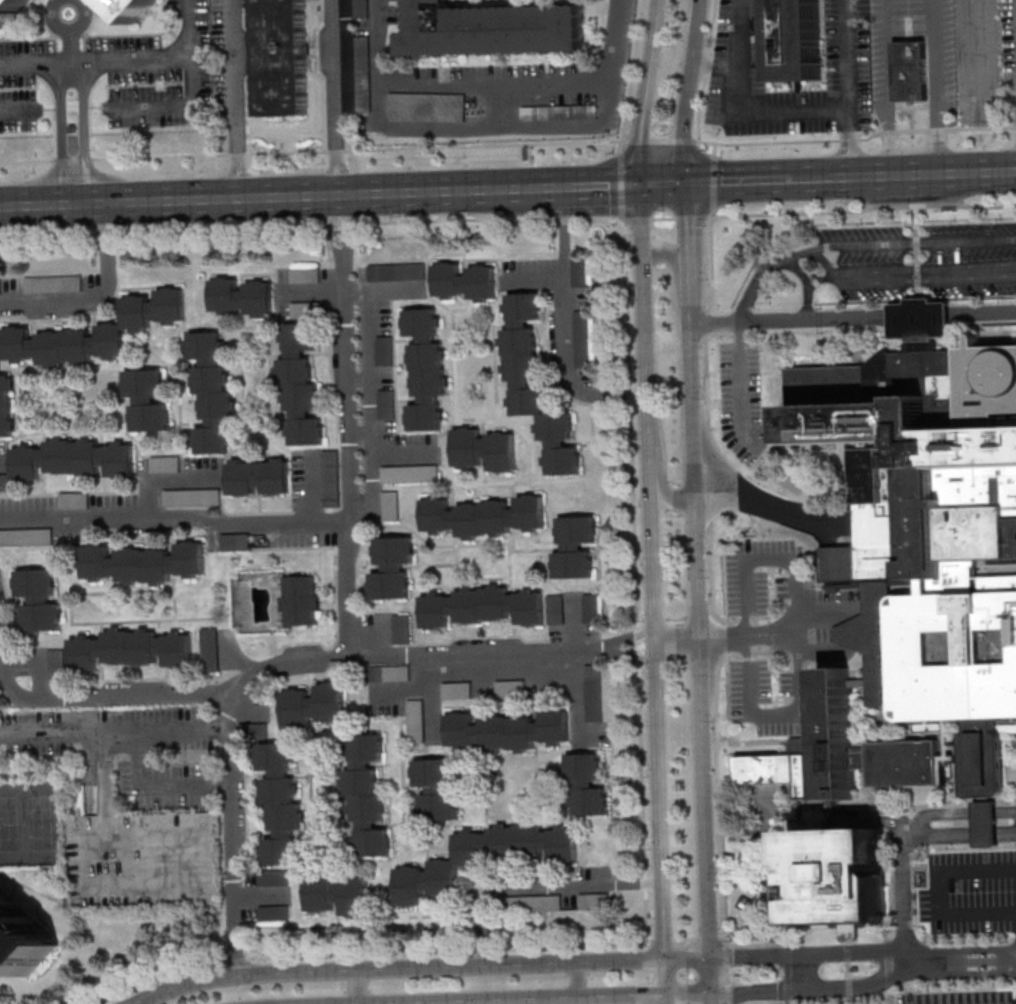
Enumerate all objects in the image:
building: (132, 7)
building: (9, 9)
building: (491, 28)
road: (67, 32)
road: (739, 35)
building: (795, 39)
road: (651, 44)
road: (72, 49)
building: (283, 57)
building: (355, 57)
road: (125, 64)
road: (632, 70)
road: (705, 70)
building: (910, 71)
road: (322, 73)
road: (247, 74)
road: (492, 85)
road: (936, 86)
road: (886, 87)
road: (848, 88)
road: (690, 91)
road: (335, 97)
road: (239, 98)
building: (427, 107)
road: (169, 108)
road: (751, 111)
road: (17, 112)
road: (83, 120)
road: (61, 121)
road: (490, 126)
road: (638, 136)
road: (662, 140)
road: (857, 140)
road: (486, 145)
road: (620, 146)
road: (714, 149)
road: (336, 151)
road: (291, 152)
road: (241, 153)
road: (530, 155)
road: (114, 156)
road: (971, 171)
road: (916, 174)
road: (871, 175)
road: (530, 177)
road: (814, 178)
road: (739, 180)
traffic signals: (688, 183)
road: (713, 183)
road: (620, 184)
road: (664, 184)
road: (597, 185)
traffic signals: (641, 185)
road: (74, 188)
road: (447, 191)
road: (291, 196)
road: (120, 201)
road: (861, 209)
road: (691, 217)
road: (663, 218)
road: (637, 219)
road: (311, 225)
road: (857, 242)
road: (916, 250)
road: (690, 254)
road: (712, 262)
road: (908, 271)
building: (396, 272)
building: (580, 272)
road: (676, 275)
road: (536, 276)
road: (820, 279)
building: (464, 280)
road: (806, 281)
building: (53, 283)
road: (391, 290)
road: (318, 291)
building: (241, 296)
road: (99, 297)
road: (983, 312)
road: (921, 315)
road: (792, 318)
building: (921, 318)
building: (124, 324)
road: (565, 324)
road: (949, 326)
road: (794, 329)
building: (583, 339)
building: (384, 350)
building: (426, 369)
building: (534, 384)
building: (301, 385)
road: (740, 389)
building: (212, 393)
building: (147, 400)
road: (369, 401)
building: (387, 404)
building: (7, 405)
road: (348, 423)
road: (708, 423)
building: (484, 449)
road: (402, 457)
building: (74, 459)
building: (166, 464)
road: (659, 469)
road: (709, 471)
building: (409, 473)
building: (258, 476)
road: (166, 479)
building: (4, 482)
building: (175, 494)
building: (74, 500)
road: (766, 504)
building: (391, 506)
building: (483, 516)
road: (175, 518)
building: (929, 536)
building: (26, 537)
building: (235, 542)
building: (574, 546)
building: (144, 563)
building: (392, 567)
road: (651, 571)
building: (39, 599)
building: (301, 600)
building: (482, 606)
building: (555, 609)
building: (402, 628)
road: (703, 641)
building: (131, 649)
building: (210, 649)
road: (460, 656)
building: (56, 663)
building: (389, 673)
road: (419, 684)
road: (749, 685)
building: (458, 690)
building: (594, 693)
road: (97, 698)
road: (434, 704)
building: (314, 705)
building: (417, 721)
road: (113, 729)
building: (253, 730)
building: (507, 730)
building: (844, 753)
road: (154, 786)
building: (586, 786)
building: (436, 789)
building: (367, 796)
building: (280, 803)
road: (957, 812)
park: (41, 822)
park: (11, 823)
road: (230, 835)
road: (901, 847)
building: (483, 858)
road: (720, 859)
building: (839, 875)
building: (274, 877)
road: (537, 885)
road: (939, 891)
building: (338, 894)
building: (591, 901)
building: (533, 903)
building: (274, 913)
building: (23, 936)
road: (961, 950)
road: (809, 954)
road: (688, 958)
traffic signals: (713, 958)
traffic signals: (663, 959)
road: (962, 961)
road: (397, 967)
road: (963, 972)
road: (806, 973)
road: (714, 976)
road: (663, 977)
road: (577, 978)
road: (358, 986)
road: (813, 990)
traffic signals: (715, 994)
road: (689, 995)
traffic signals: (664, 996)
road: (545, 999)
road: (715, 999)
road: (664, 1000)

